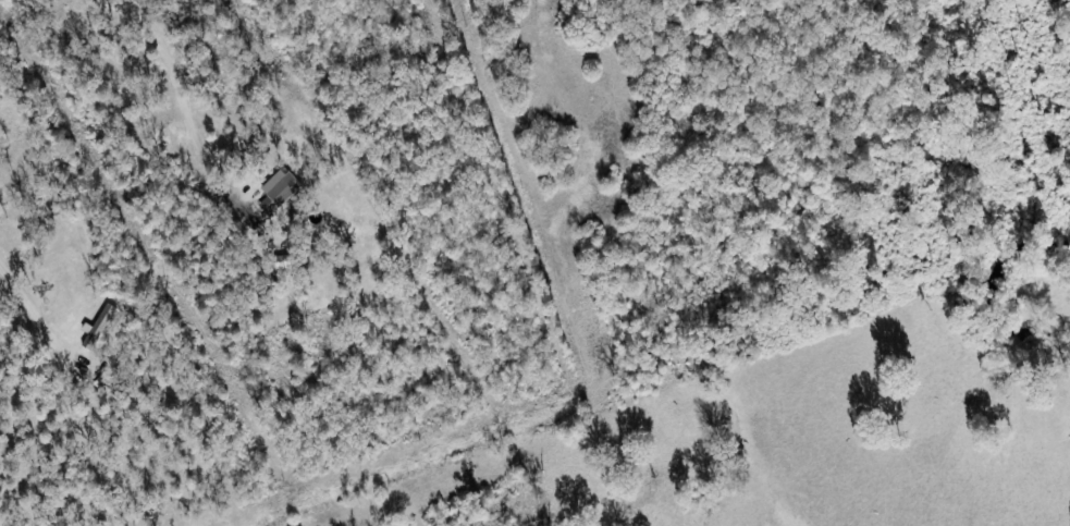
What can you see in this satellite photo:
building: (284, 186)
road: (27, 302)
building: (101, 327)

